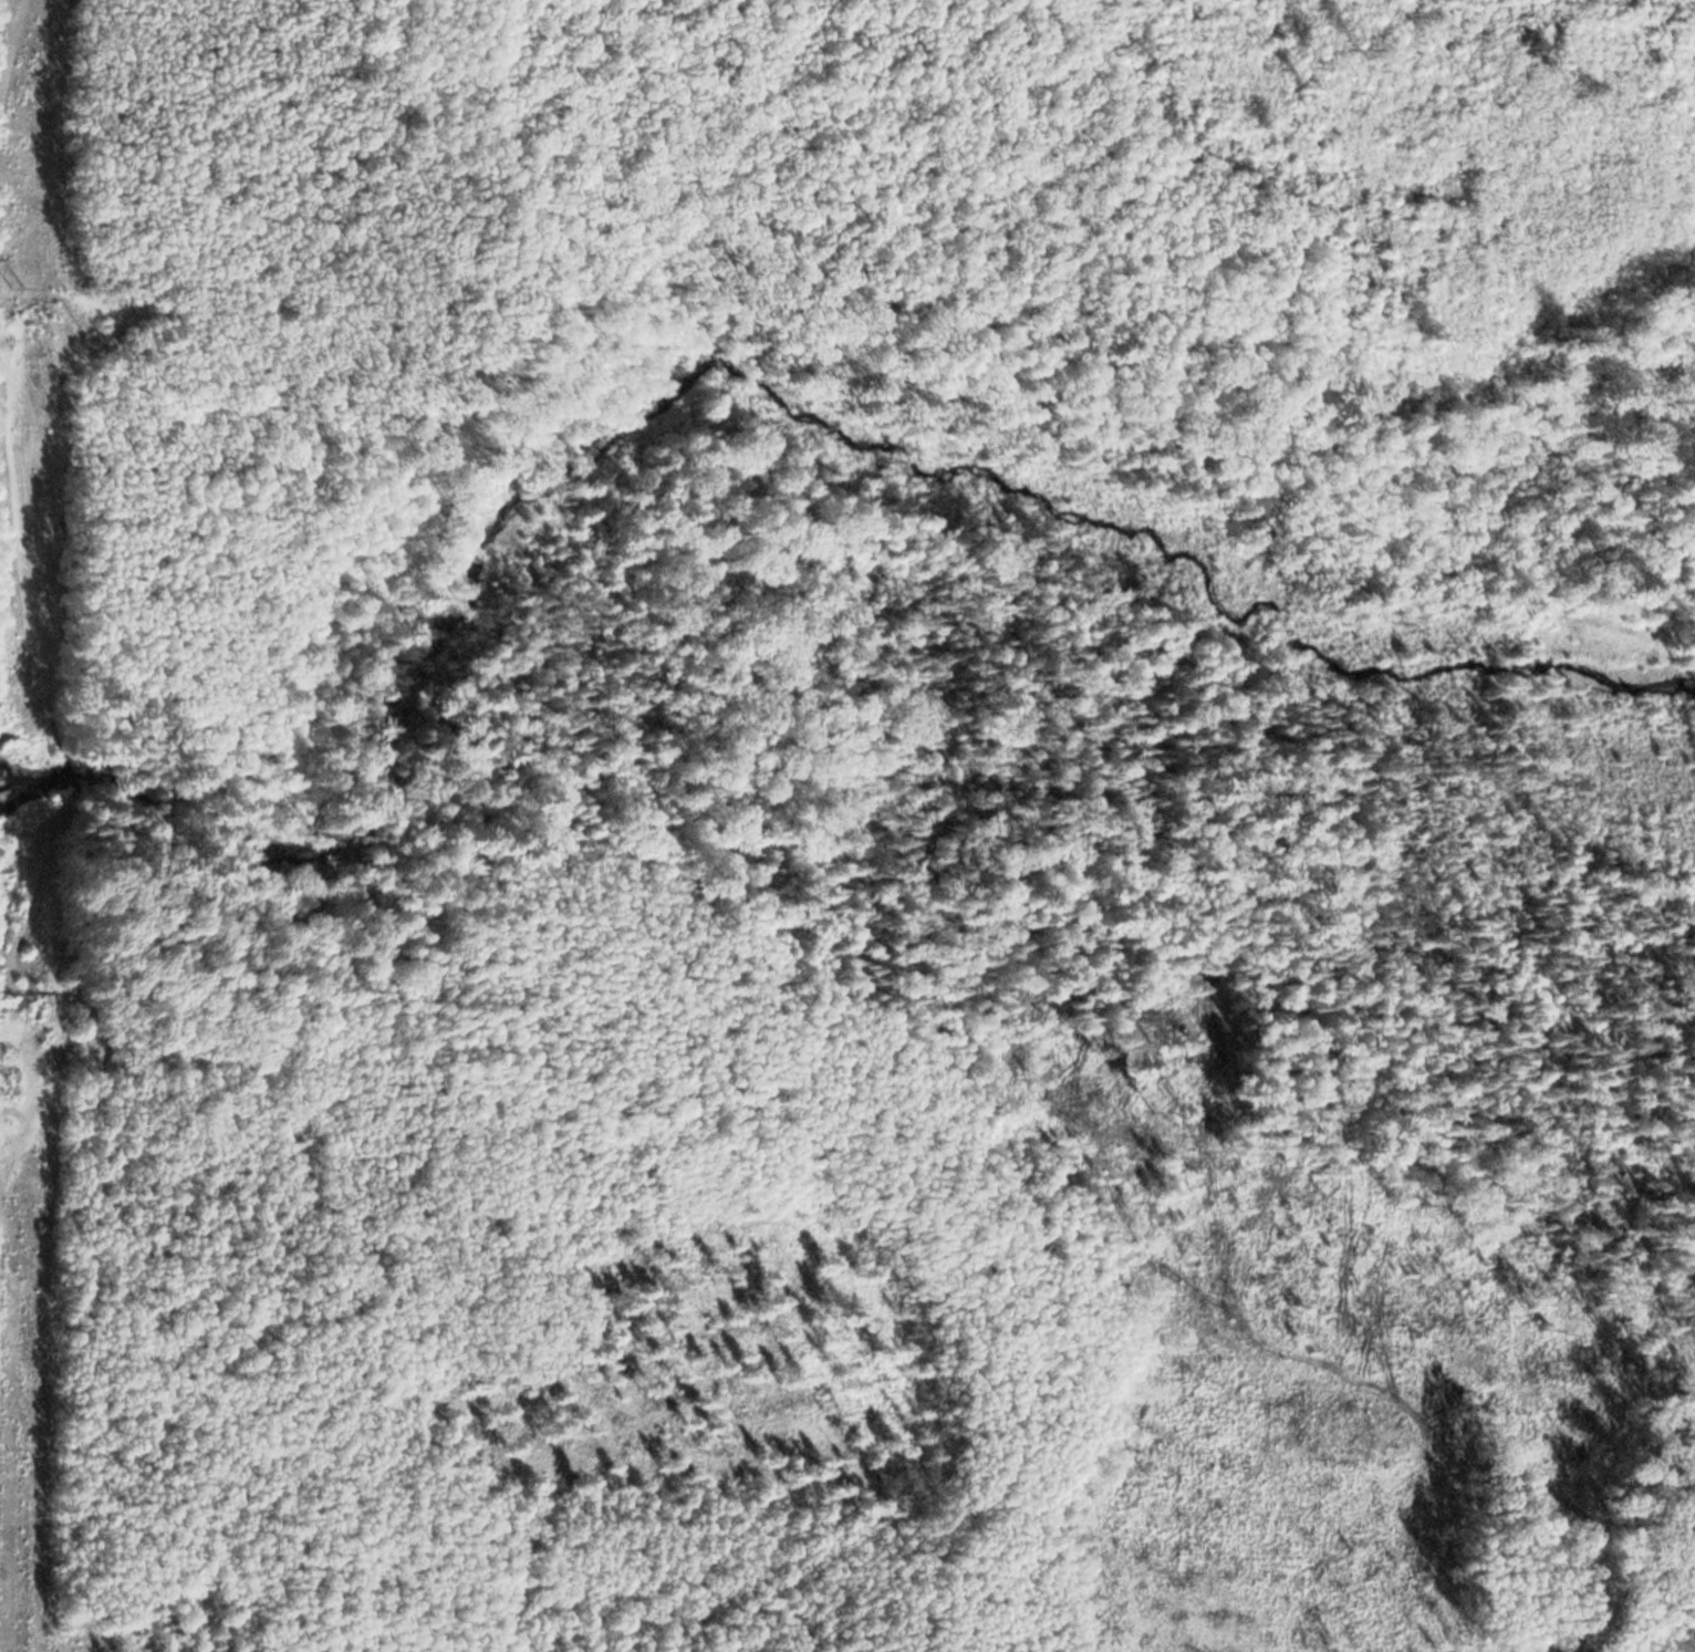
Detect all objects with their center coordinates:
road: (32, 1364)

